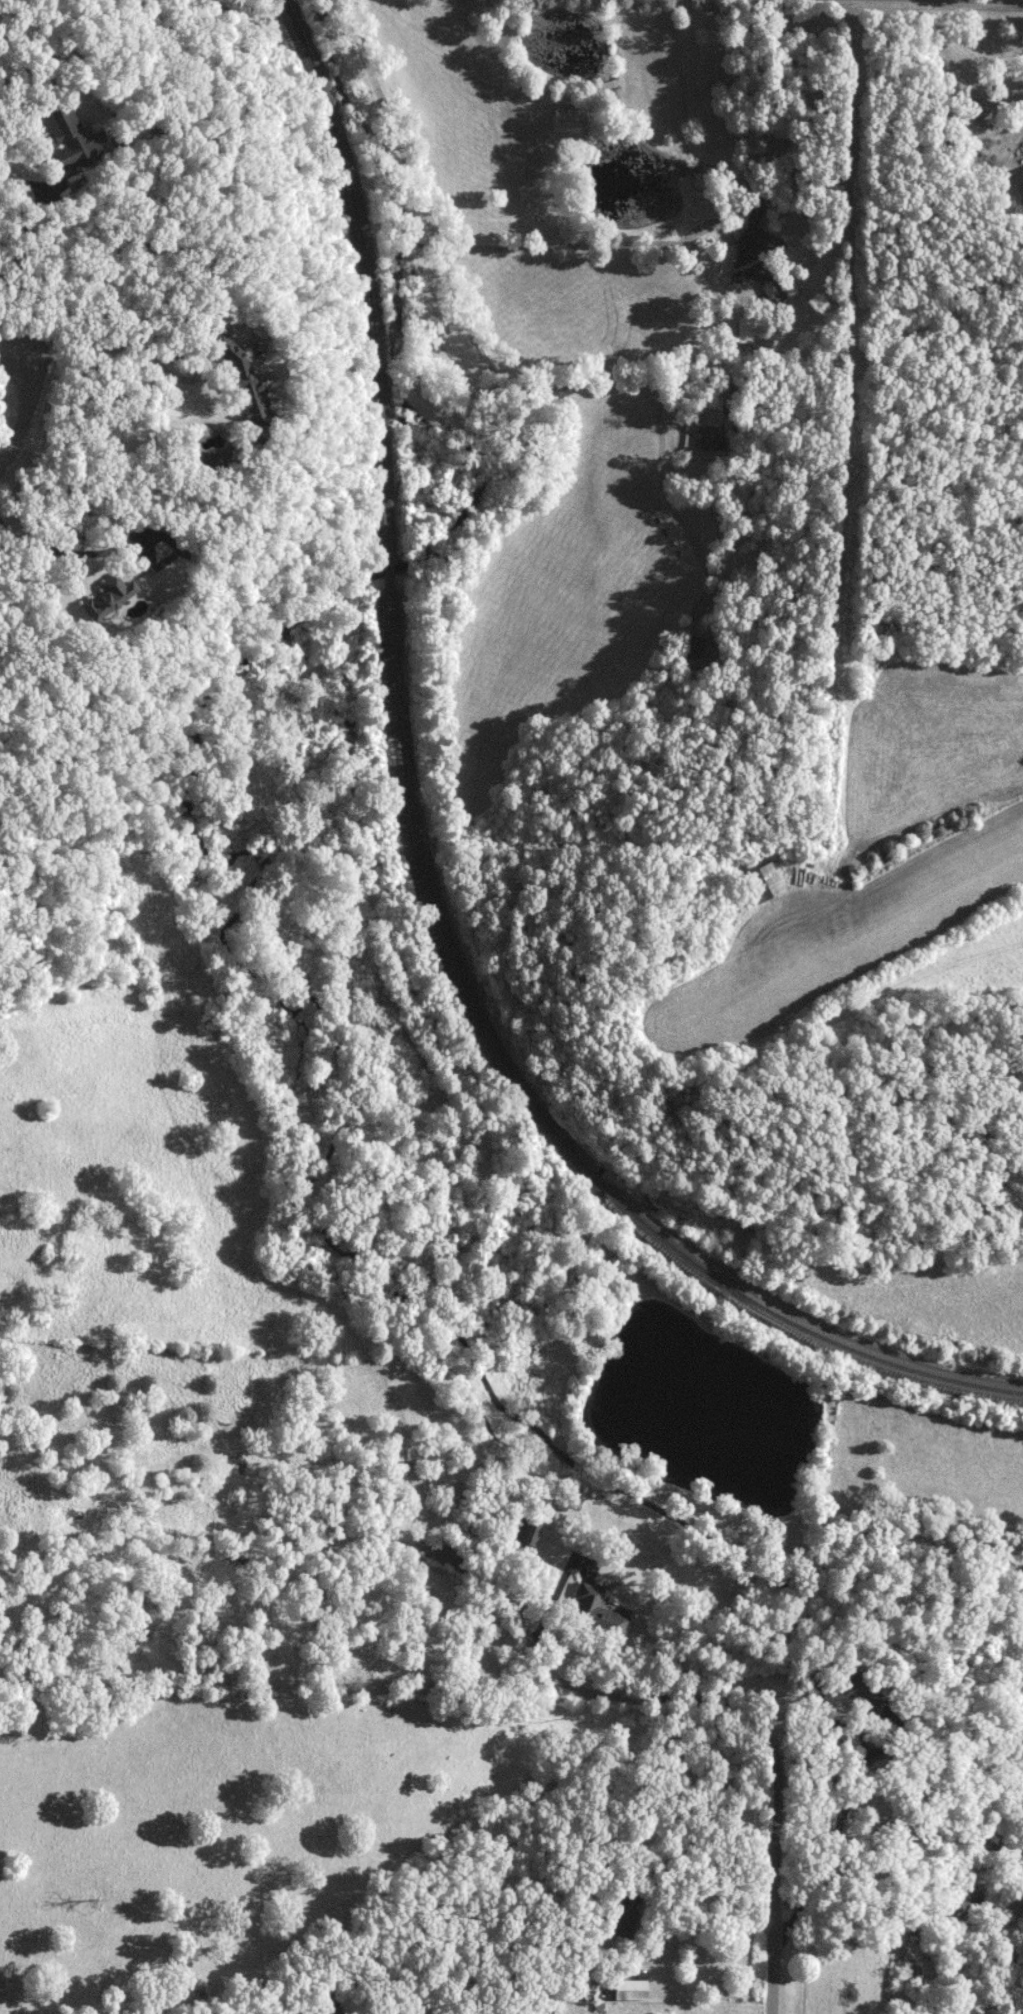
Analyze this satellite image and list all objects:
road: (998, 0)
building: (567, 118)
building: (71, 137)
road: (22, 237)
road: (614, 243)
building: (756, 254)
railway: (361, 273)
road: (450, 285)
road: (157, 358)
building: (245, 384)
road: (24, 415)
building: (709, 438)
building: (214, 459)
road: (668, 501)
road: (63, 550)
railway: (389, 578)
building: (112, 597)
building: (694, 648)
building: (765, 883)
airport runway: (839, 931)
railway: (550, 1120)
building: (528, 1531)
building: (599, 1611)
building: (843, 1687)
road: (740, 1748)
building: (957, 1905)
building: (627, 1915)
road: (669, 1917)
building: (909, 1972)
building: (632, 1990)

